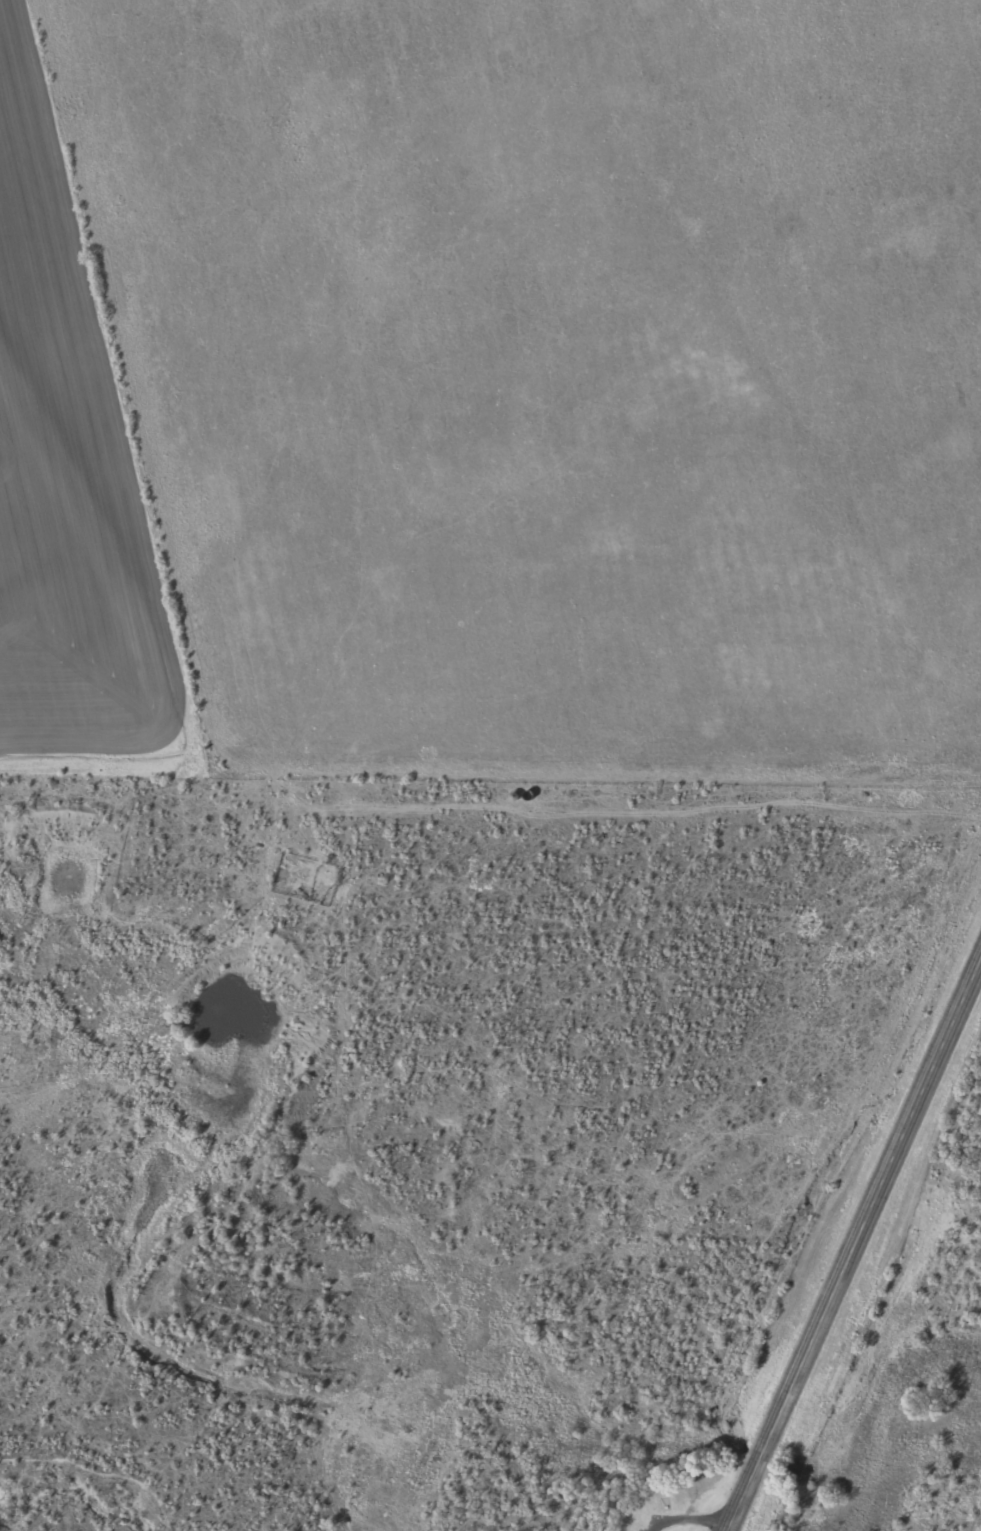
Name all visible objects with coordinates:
road: (857, 1252)

